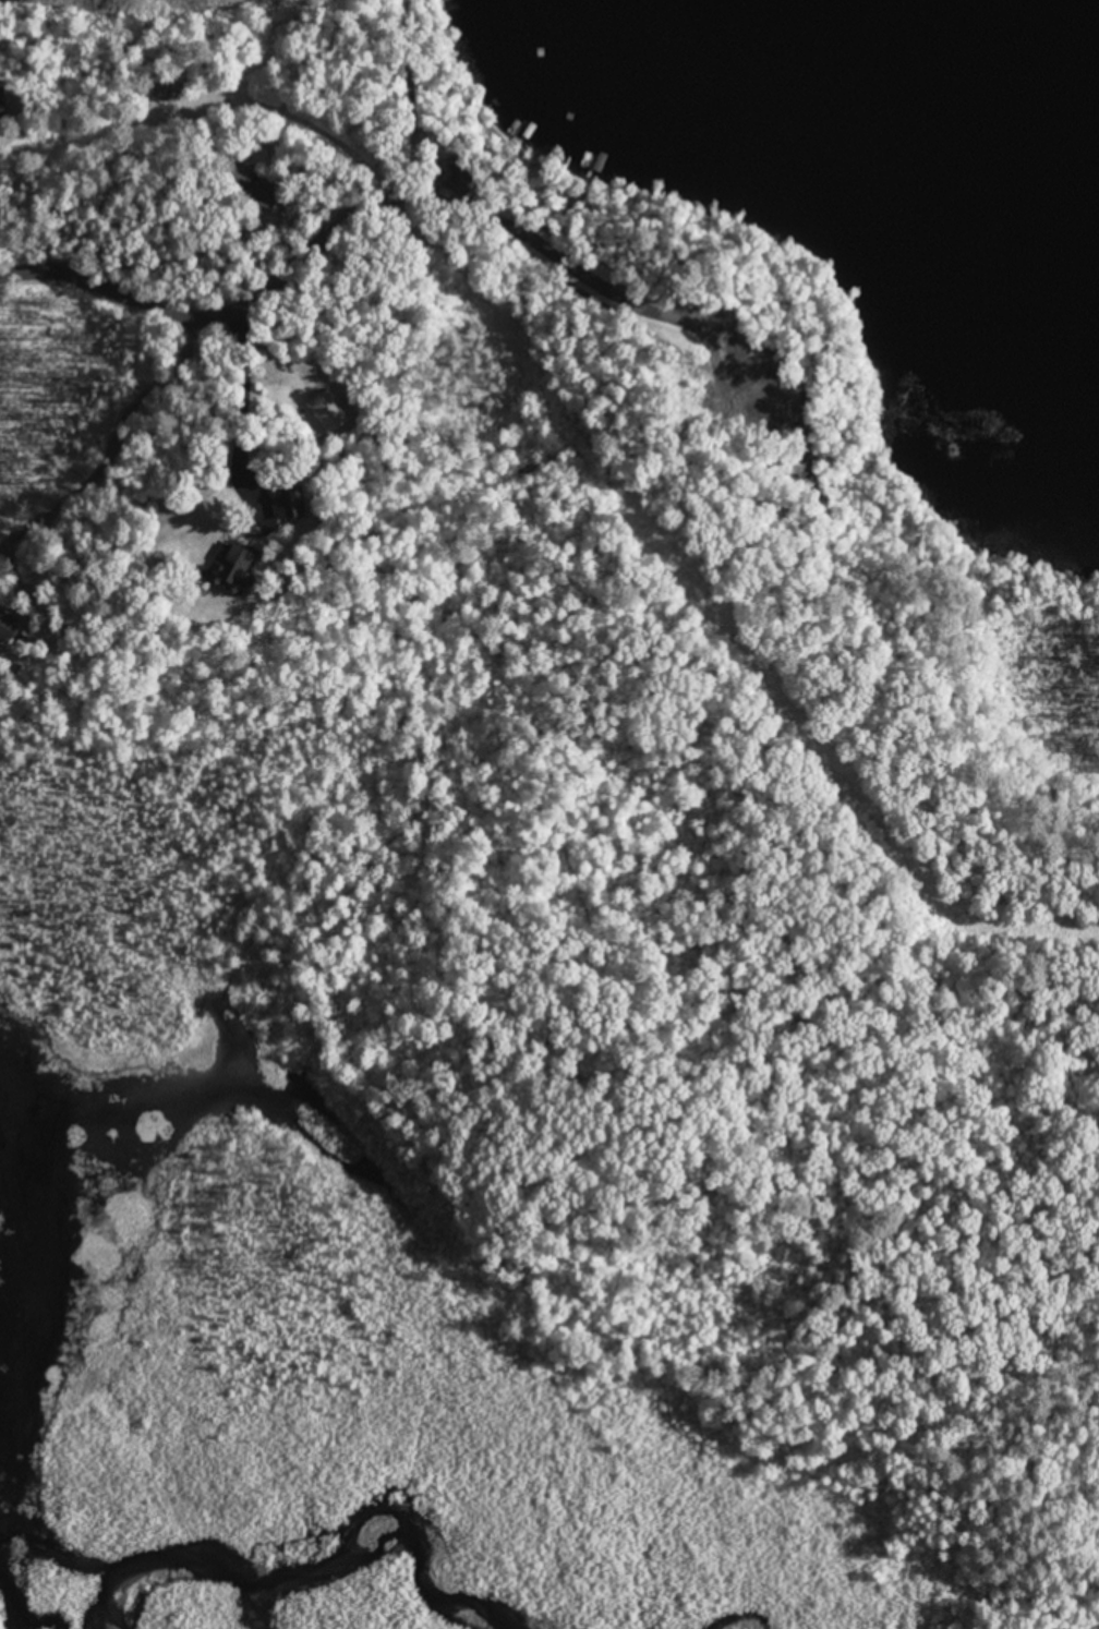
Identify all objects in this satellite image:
road: (382, 94)
road: (188, 107)
road: (201, 316)
road: (592, 481)
building: (289, 505)
building: (252, 556)

